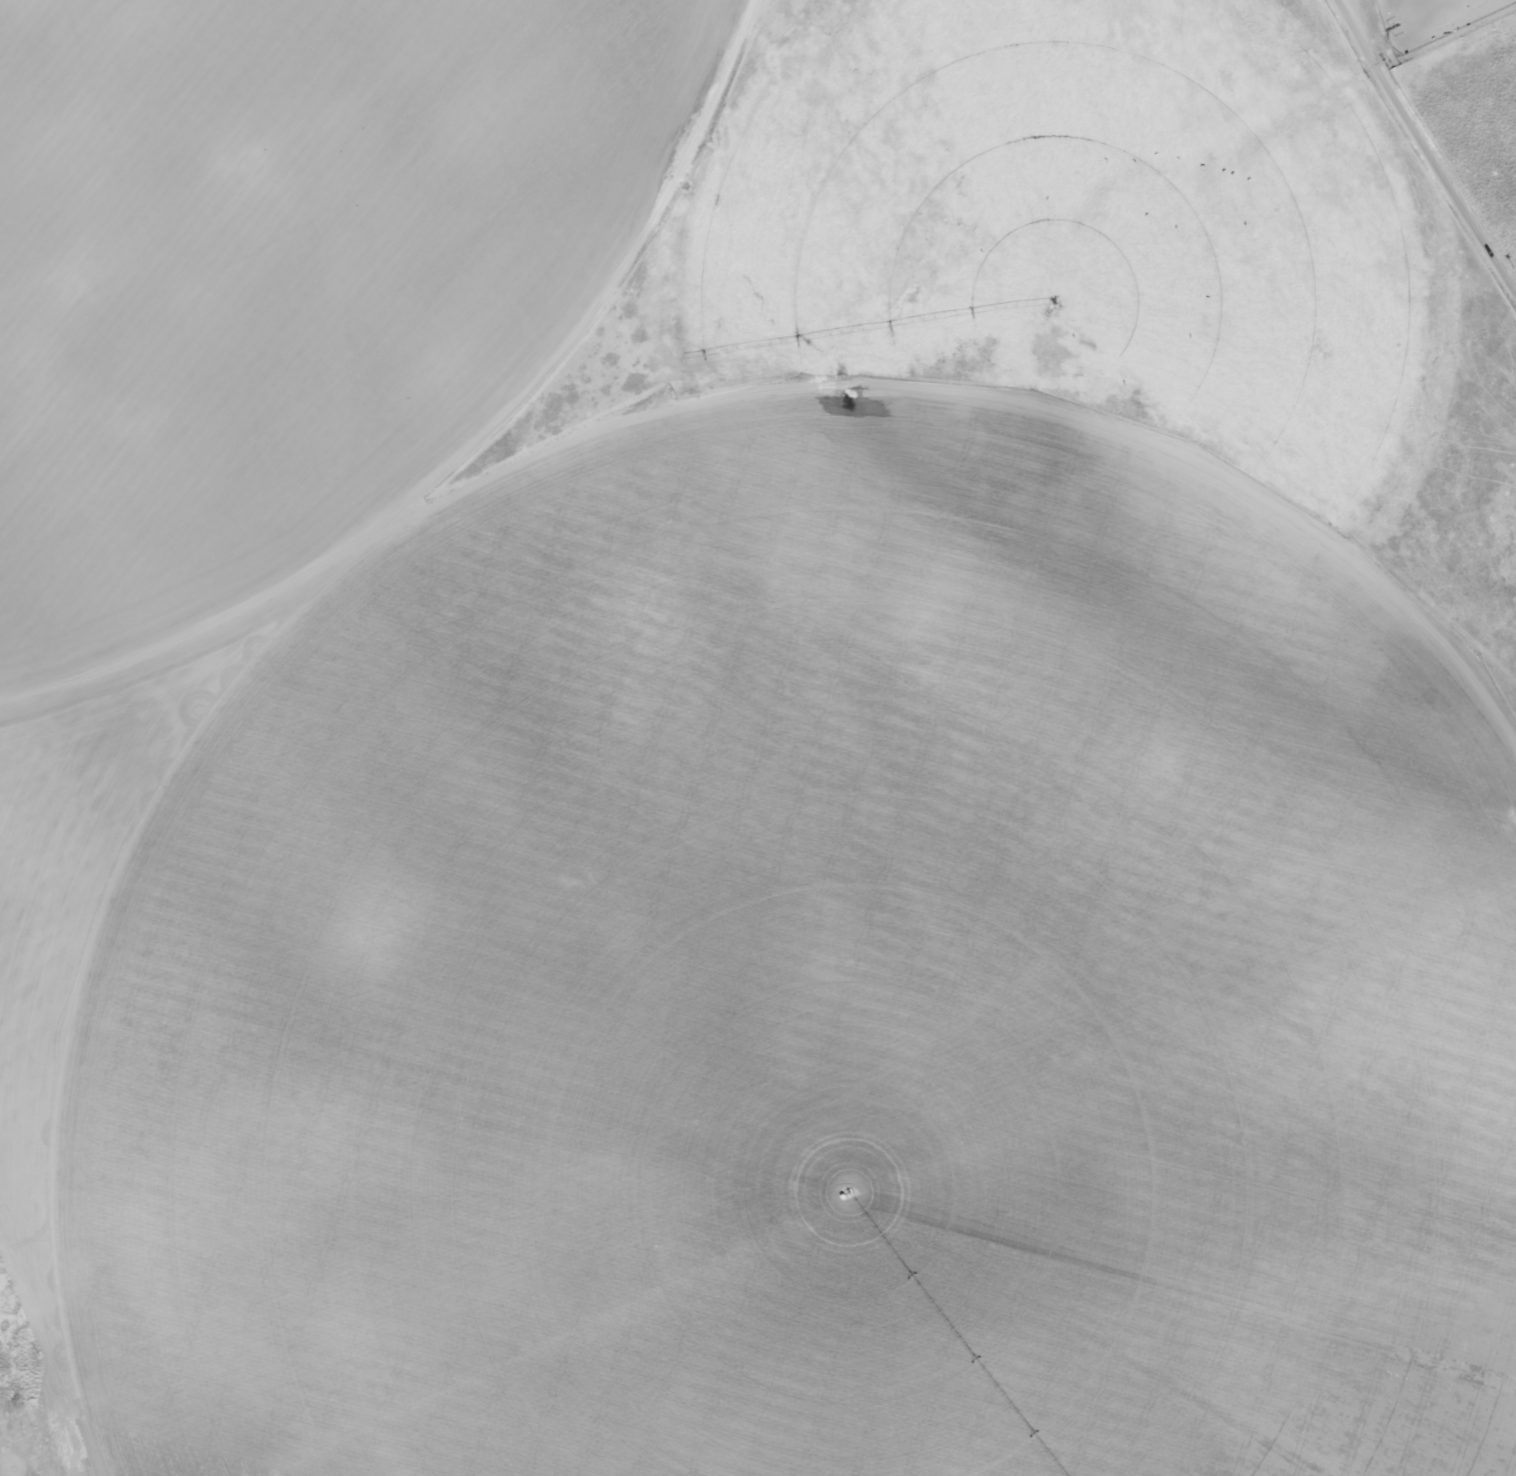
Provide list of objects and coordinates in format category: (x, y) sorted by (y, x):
road: (1426, 145)

